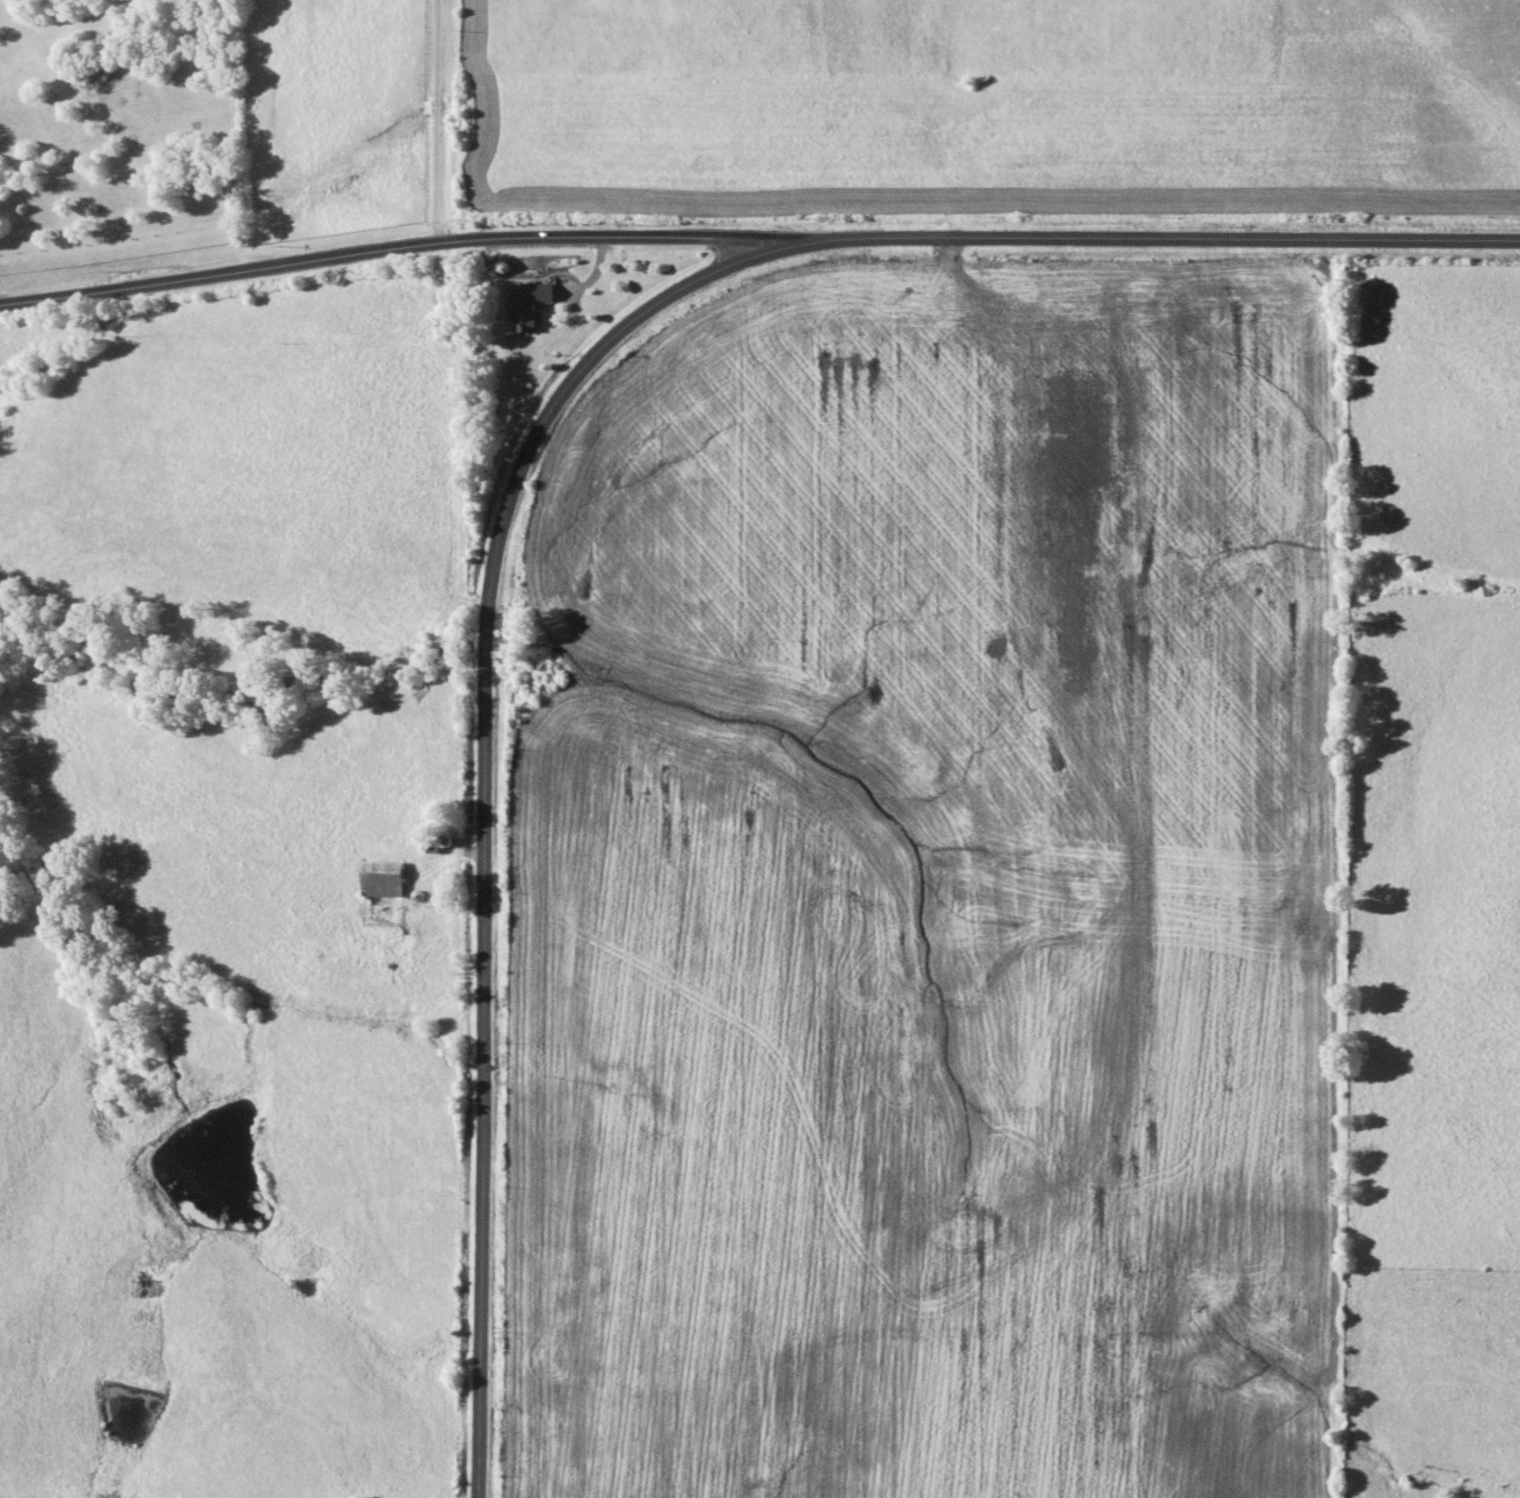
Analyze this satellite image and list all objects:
road: (438, 121)
road: (1159, 238)
road: (398, 247)
park: (469, 301)
building: (530, 304)
road: (488, 797)
building: (386, 878)

